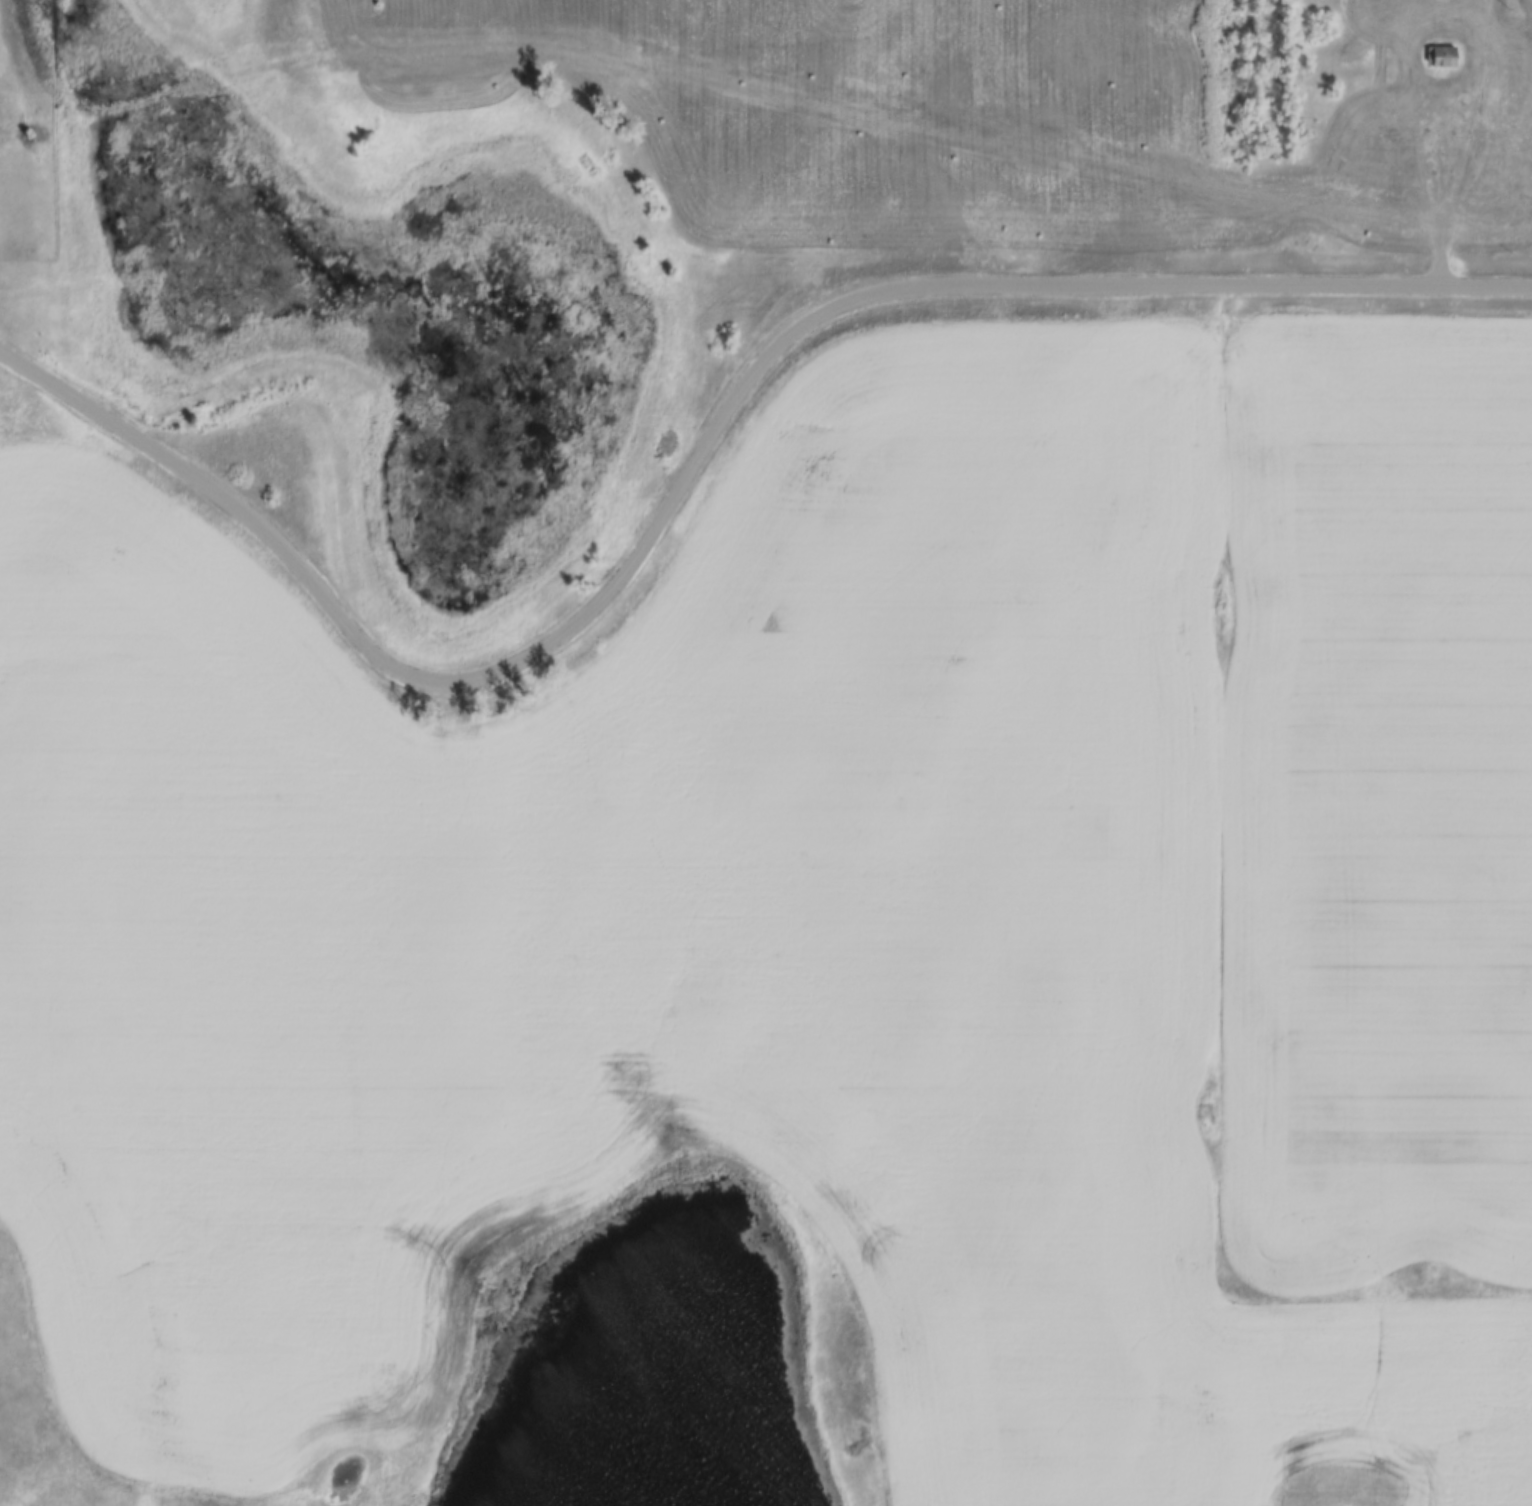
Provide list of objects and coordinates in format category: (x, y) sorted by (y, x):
building: (1442, 55)
road: (1464, 143)
road: (693, 458)

